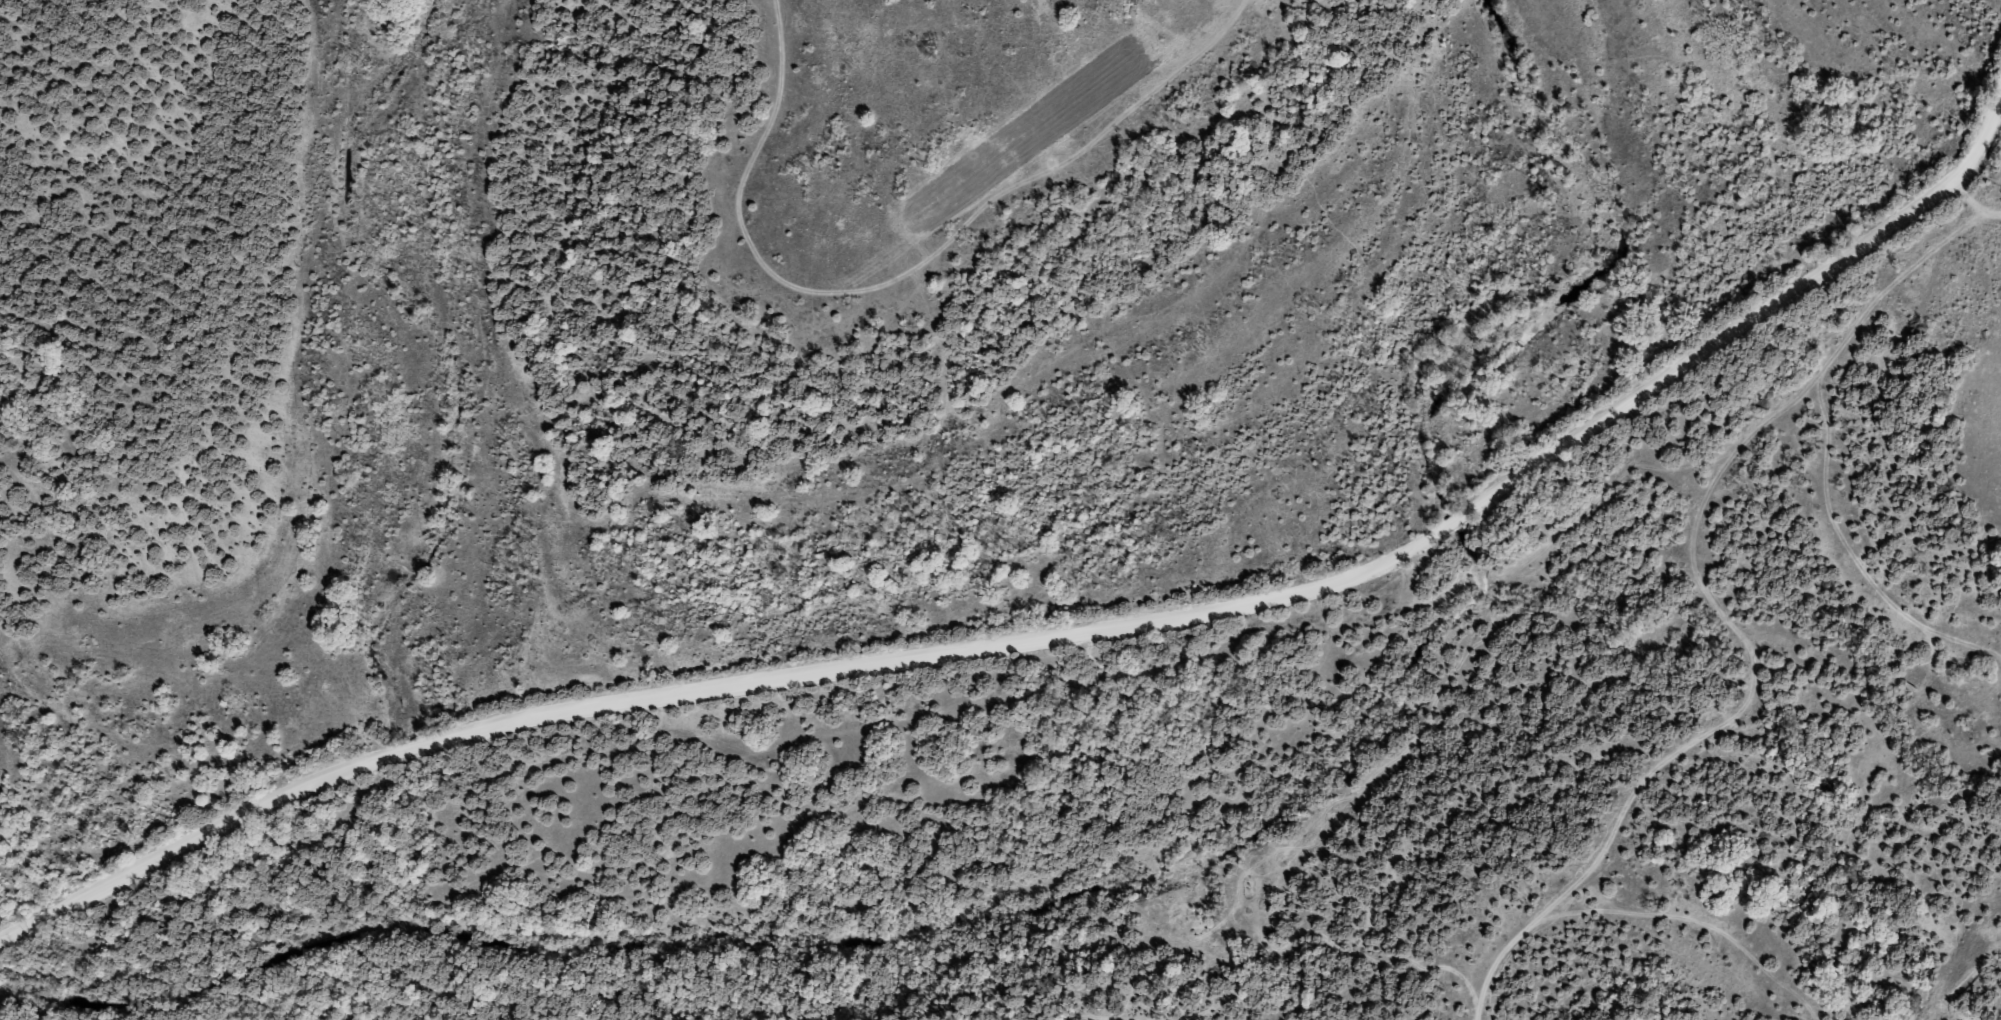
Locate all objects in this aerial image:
road: (1061, 631)

